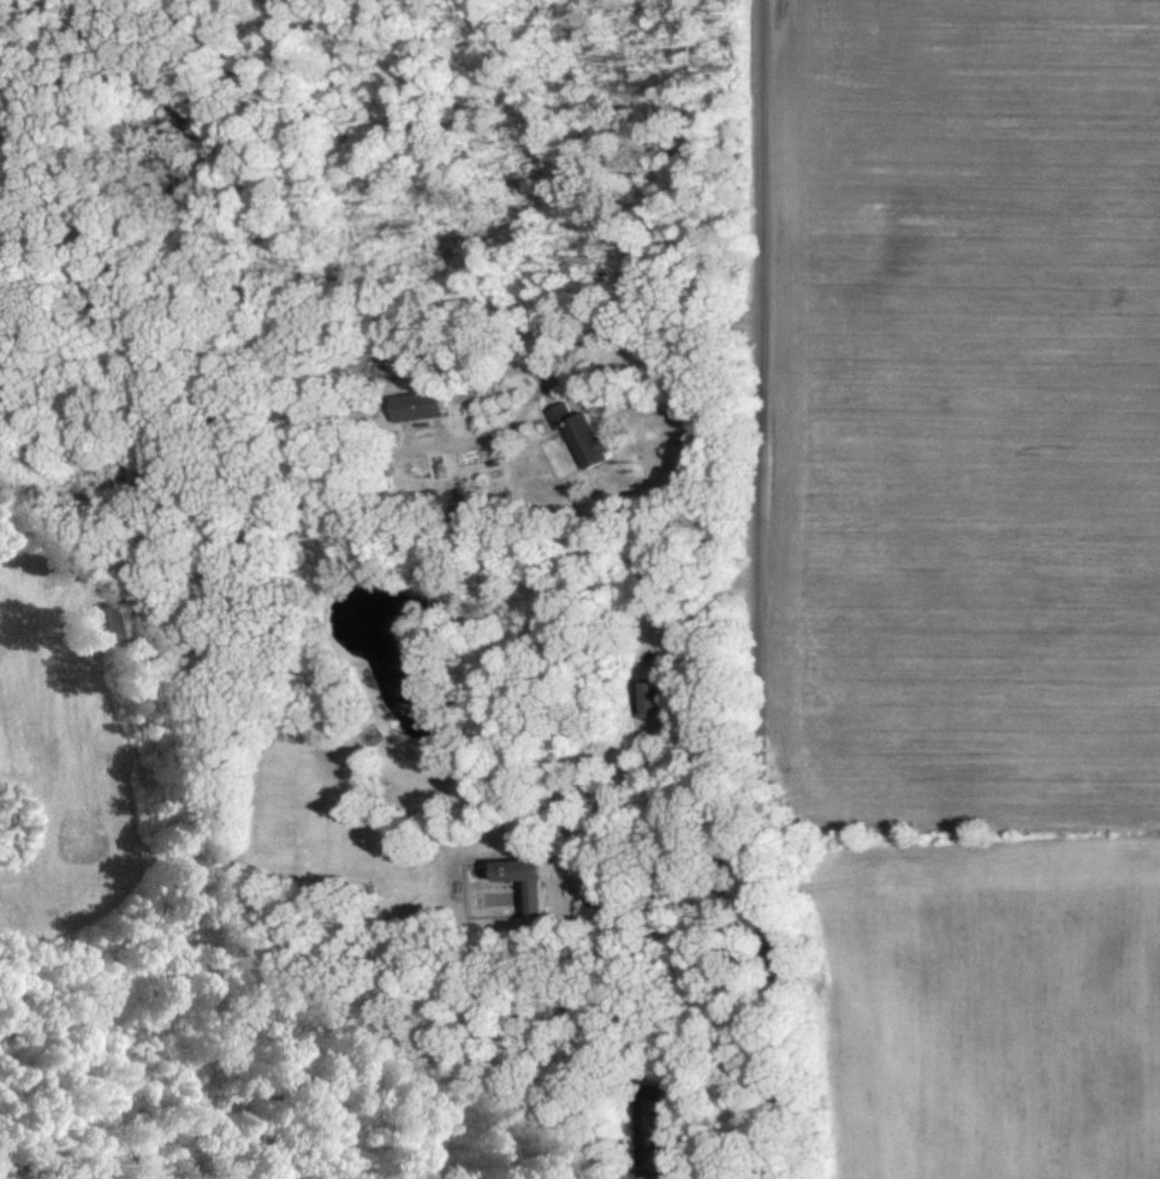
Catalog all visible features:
road: (648, 320)
building: (424, 404)
building: (590, 434)
road: (768, 589)
road: (715, 613)
building: (658, 696)
road: (685, 886)
building: (608, 894)
building: (543, 895)

